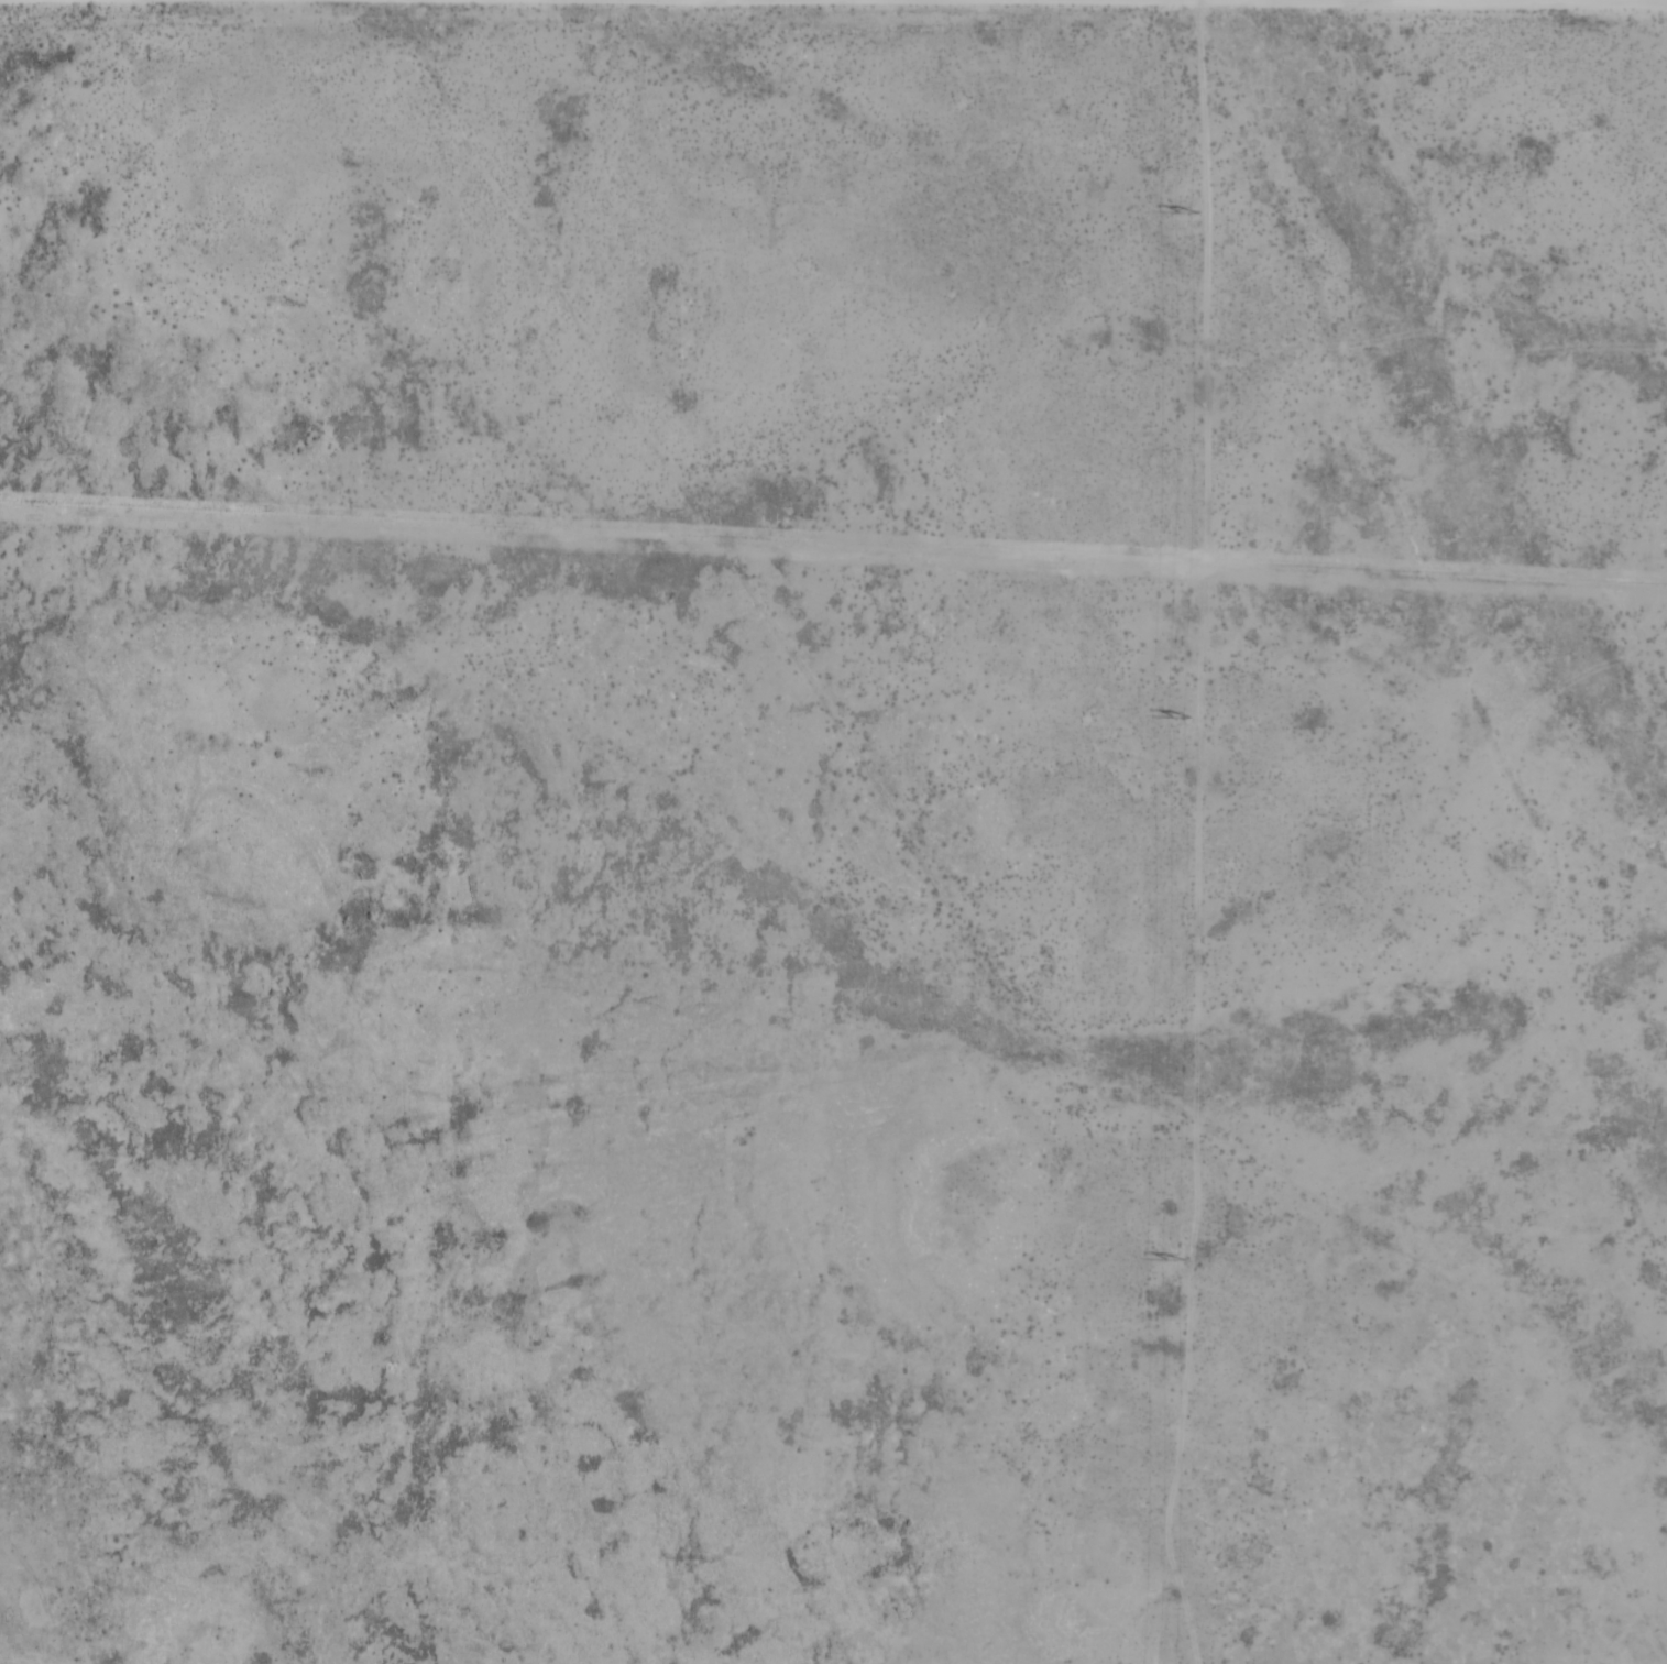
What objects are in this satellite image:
road: (1327, 1)
road: (1577, 1)
power tower: (1193, 211)
power tower: (1183, 718)
power tower: (1176, 1254)

